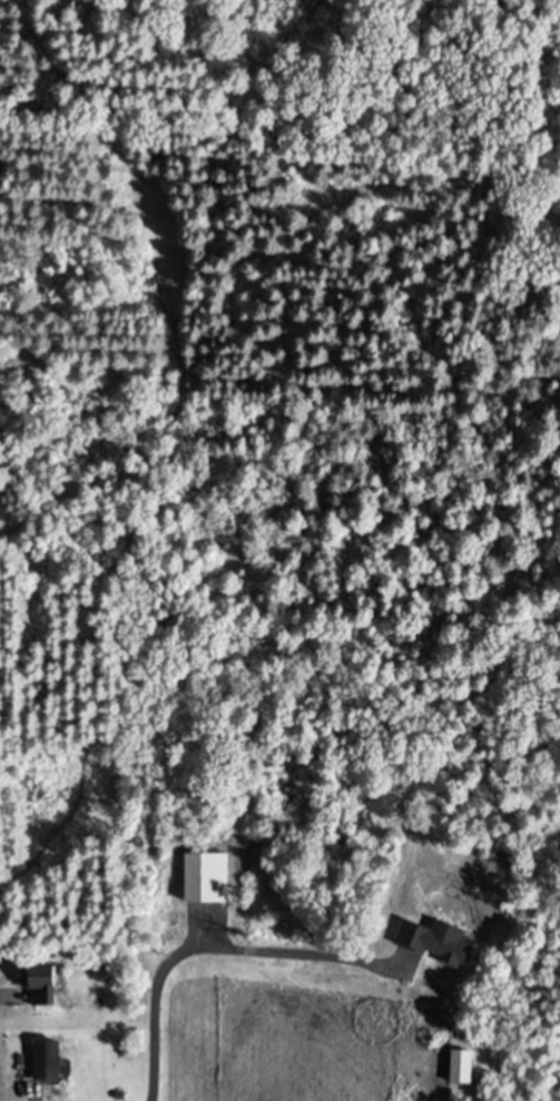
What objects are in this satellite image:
road: (197, 953)
road: (389, 967)
building: (53, 987)
crop: (317, 1019)
building: (55, 1062)

